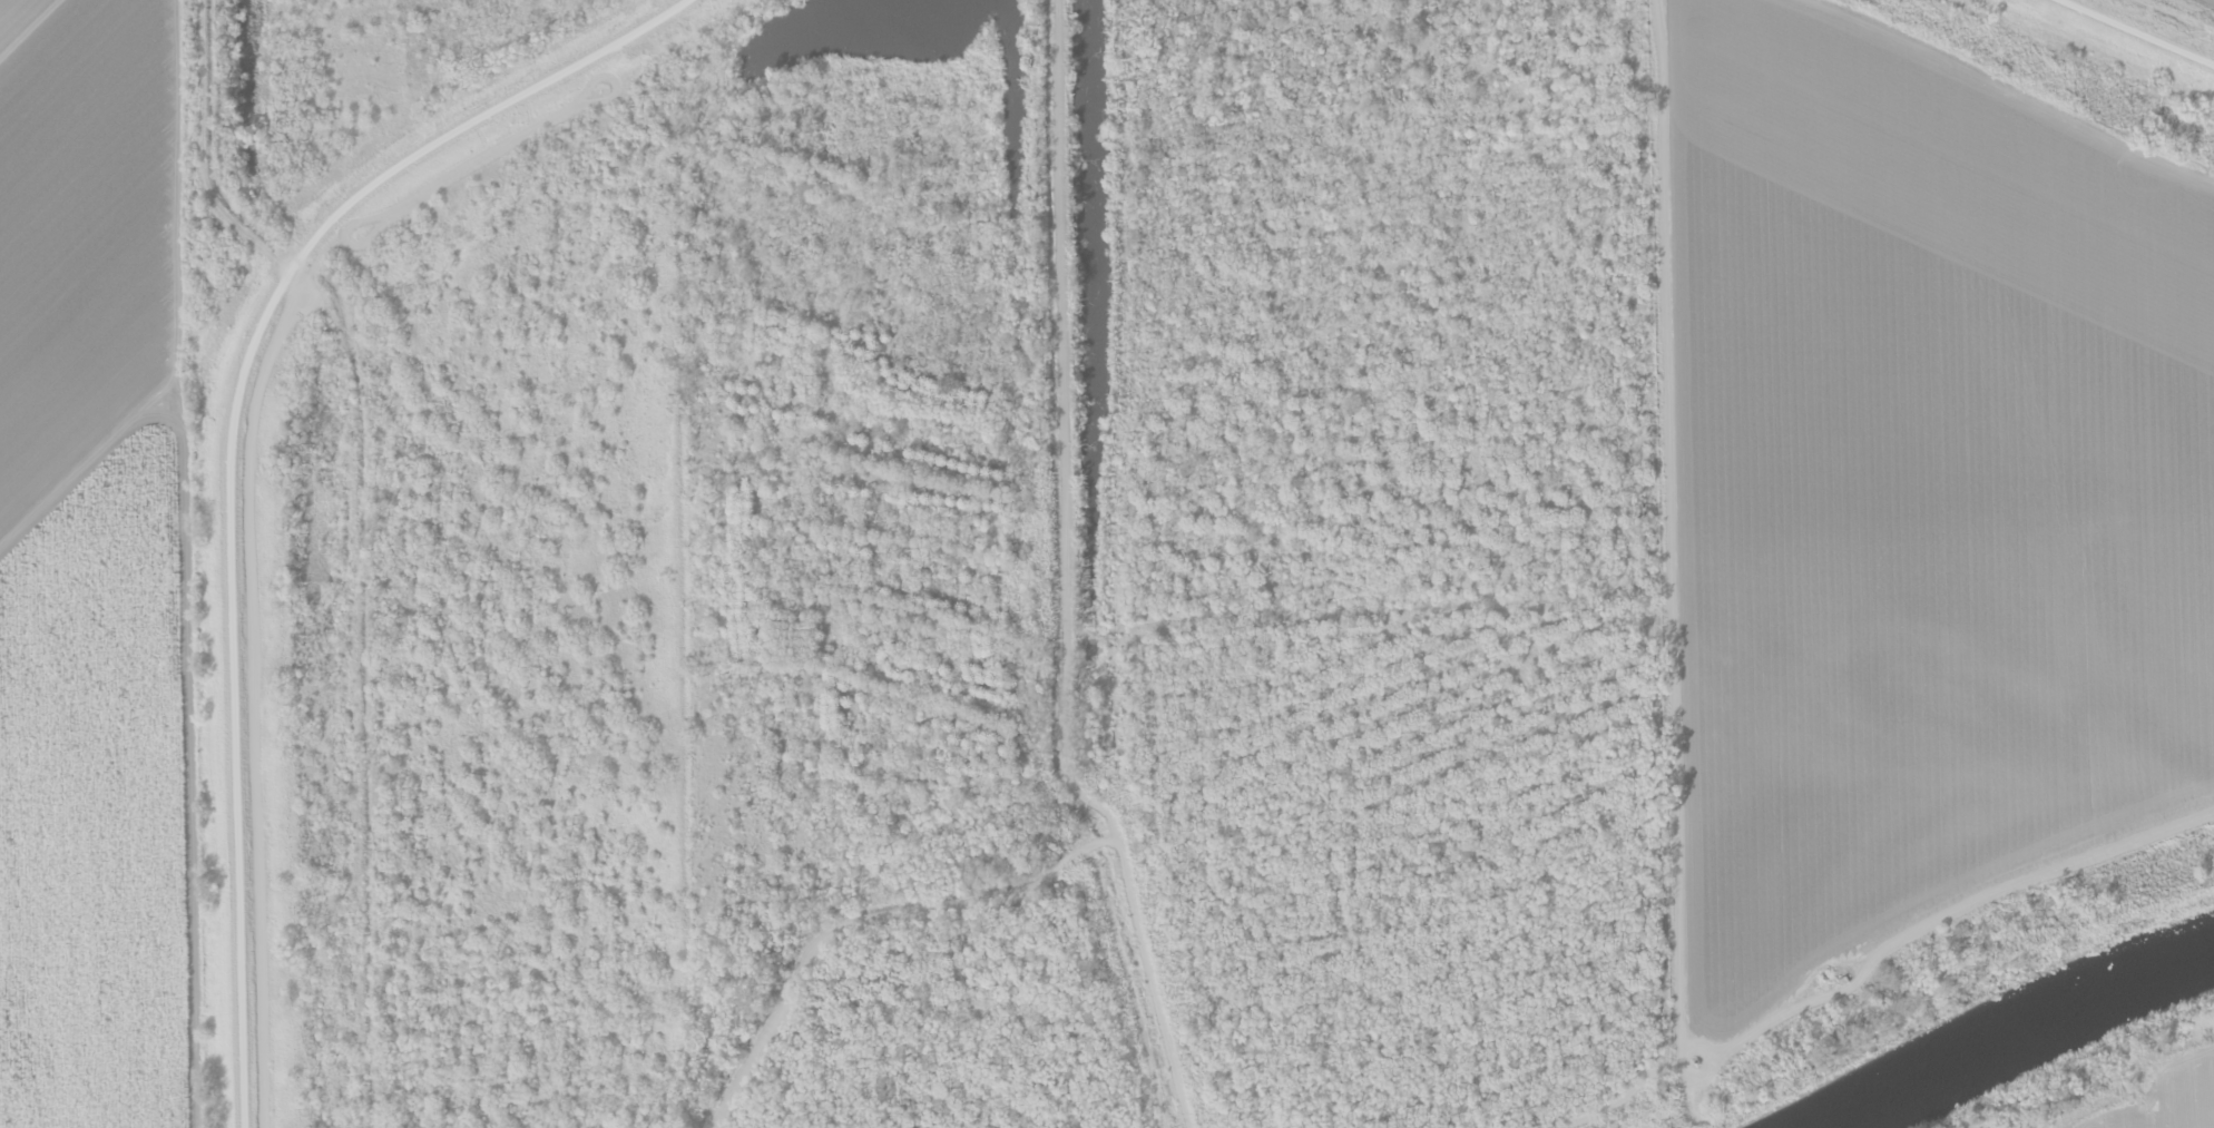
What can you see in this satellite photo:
road: (2132, 35)
road: (228, 448)
river: (2008, 1037)

